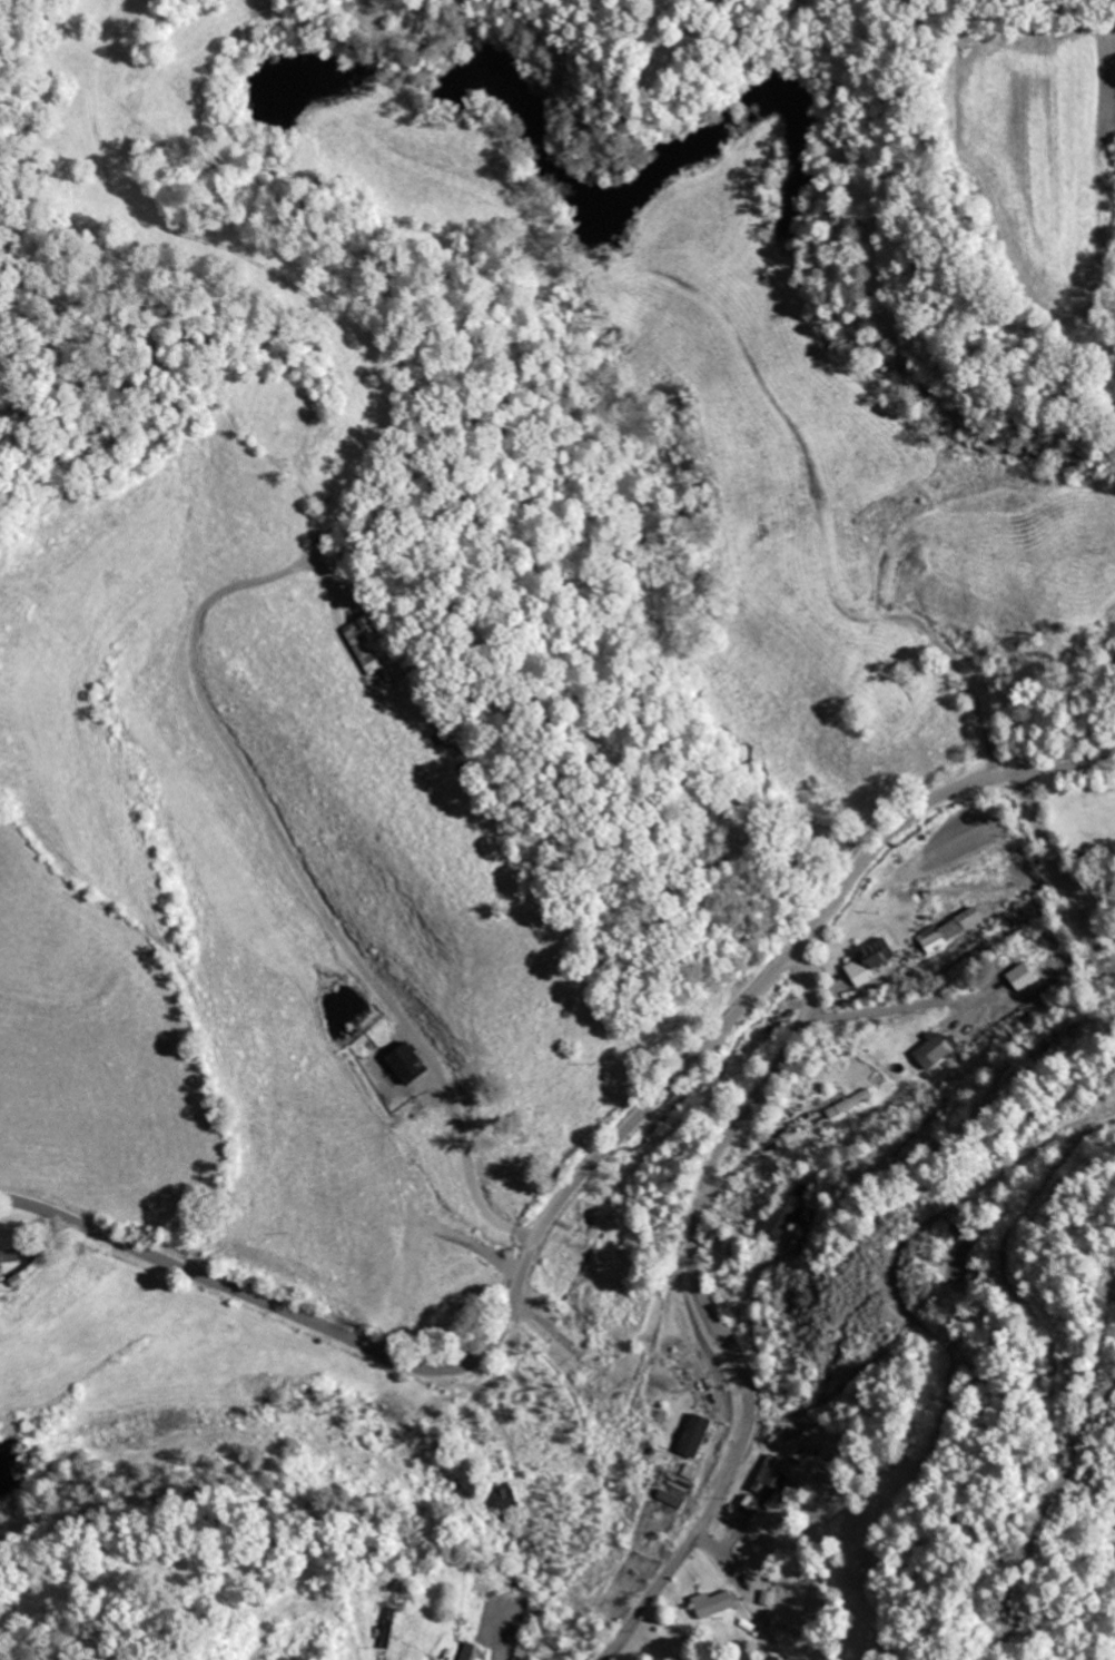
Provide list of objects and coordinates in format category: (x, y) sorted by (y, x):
building: (372, 641)
building: (955, 928)
building: (874, 961)
building: (937, 1050)
building: (413, 1063)
building: (852, 1103)
road: (573, 1184)
building: (782, 1219)
building: (10, 1254)
building: (0, 1275)
road: (709, 1308)
building: (699, 1435)
building: (777, 1473)
building: (509, 1493)
building: (674, 1498)
building: (770, 1597)
building: (717, 1603)
building: (391, 1629)
building: (474, 1651)

